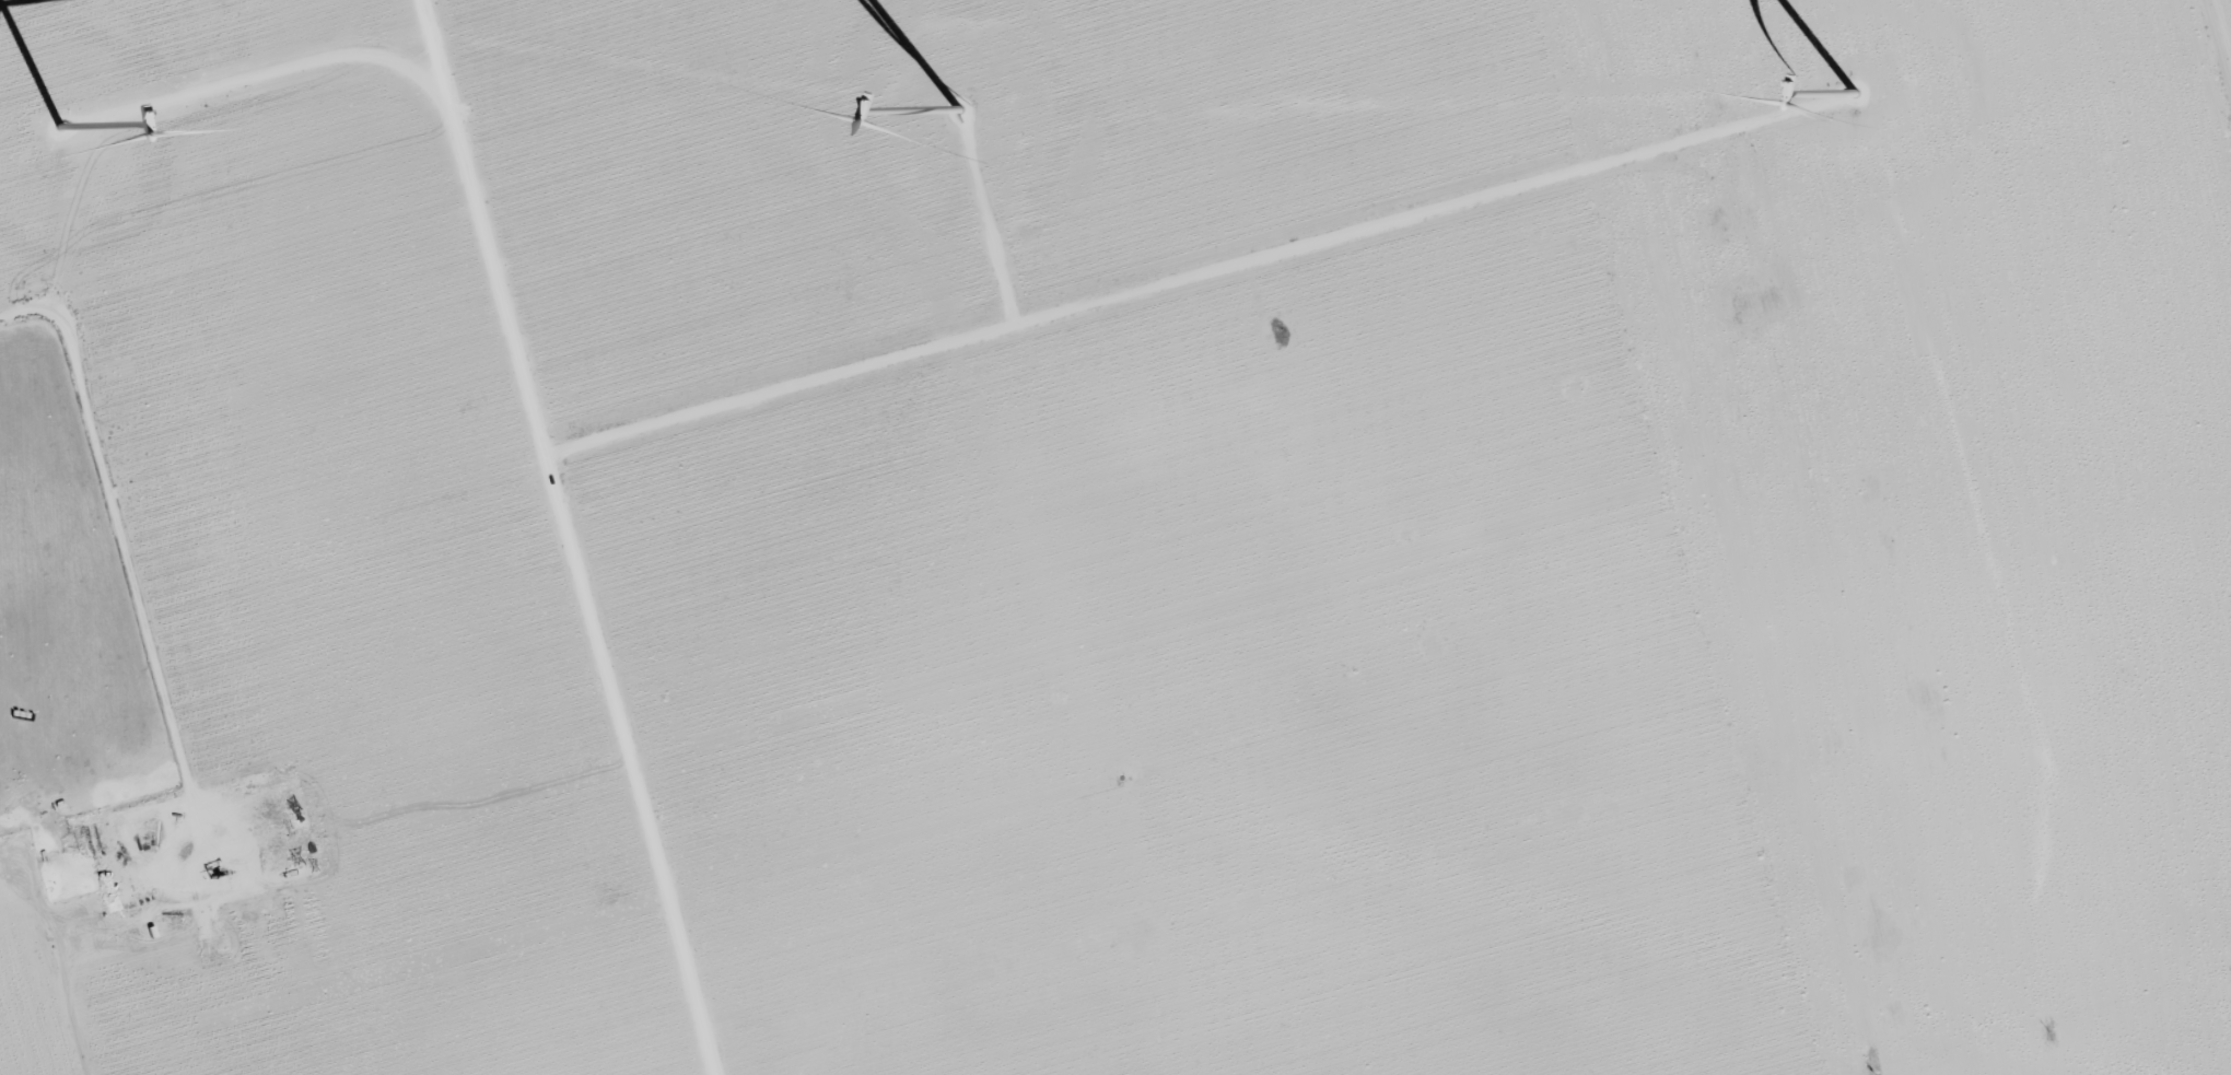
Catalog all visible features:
wind turbine: (1858, 84)
wind turbine: (954, 115)
wind turbine: (56, 124)

